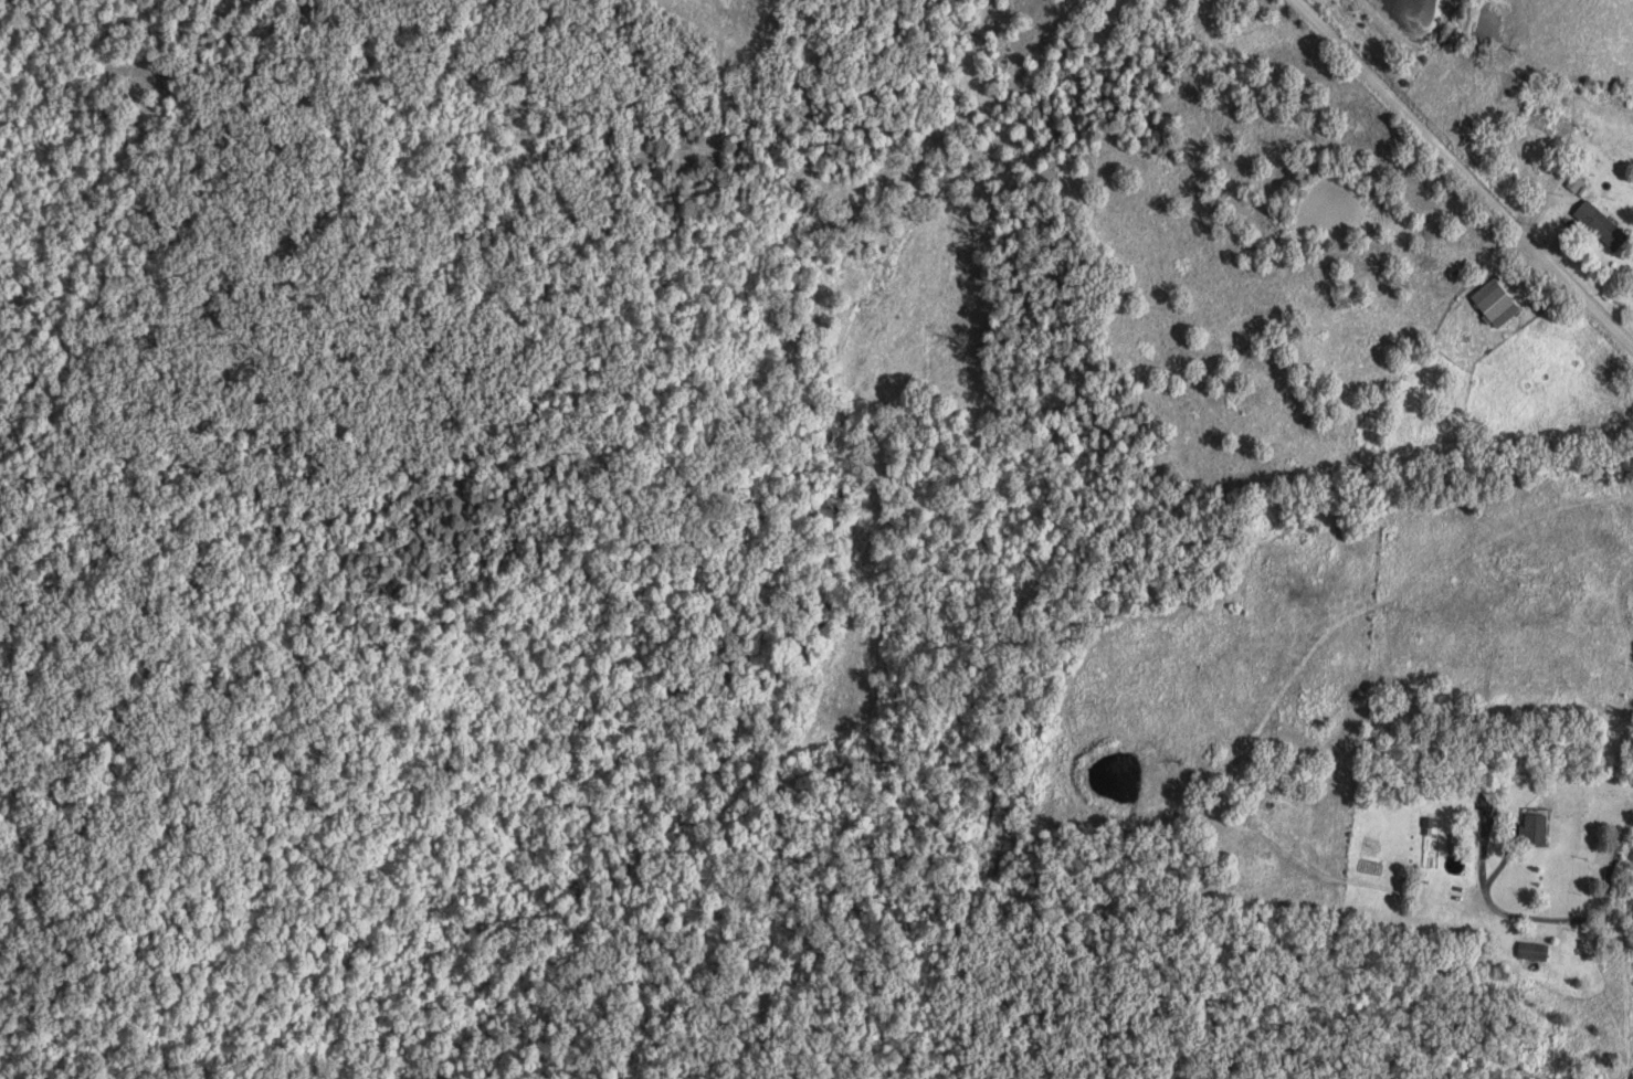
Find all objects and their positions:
road: (1463, 173)
building: (1595, 226)
building: (1489, 306)
building: (1528, 831)
building: (1531, 953)

